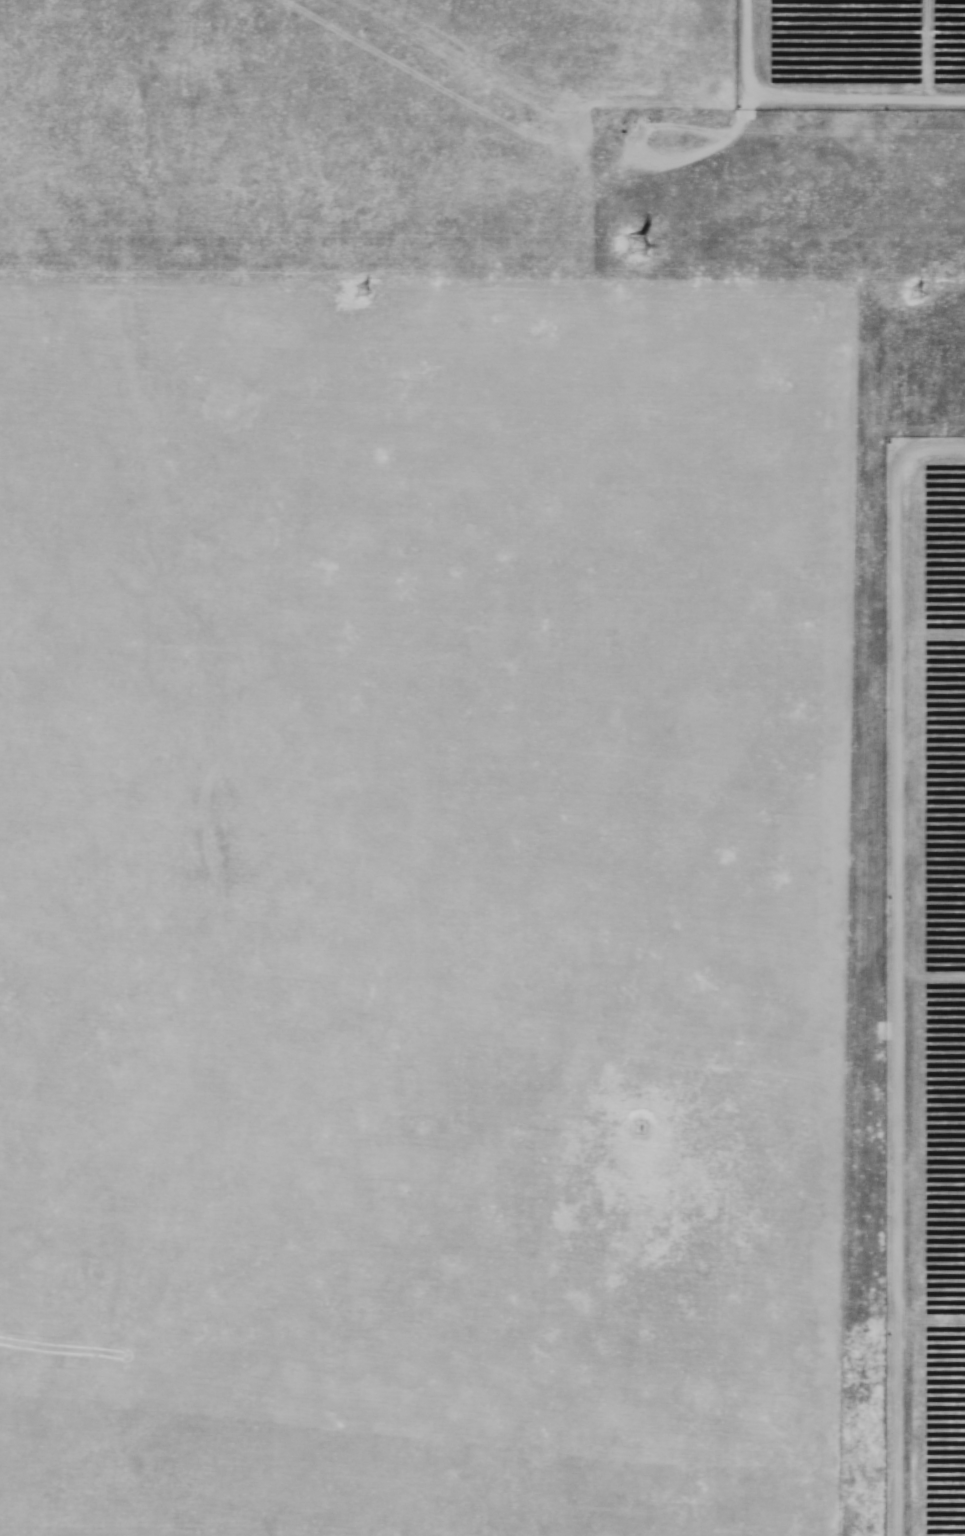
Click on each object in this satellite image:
power tower: (631, 246)
power tower: (362, 294)
power tower: (914, 294)
solar farm: (909, 911)

